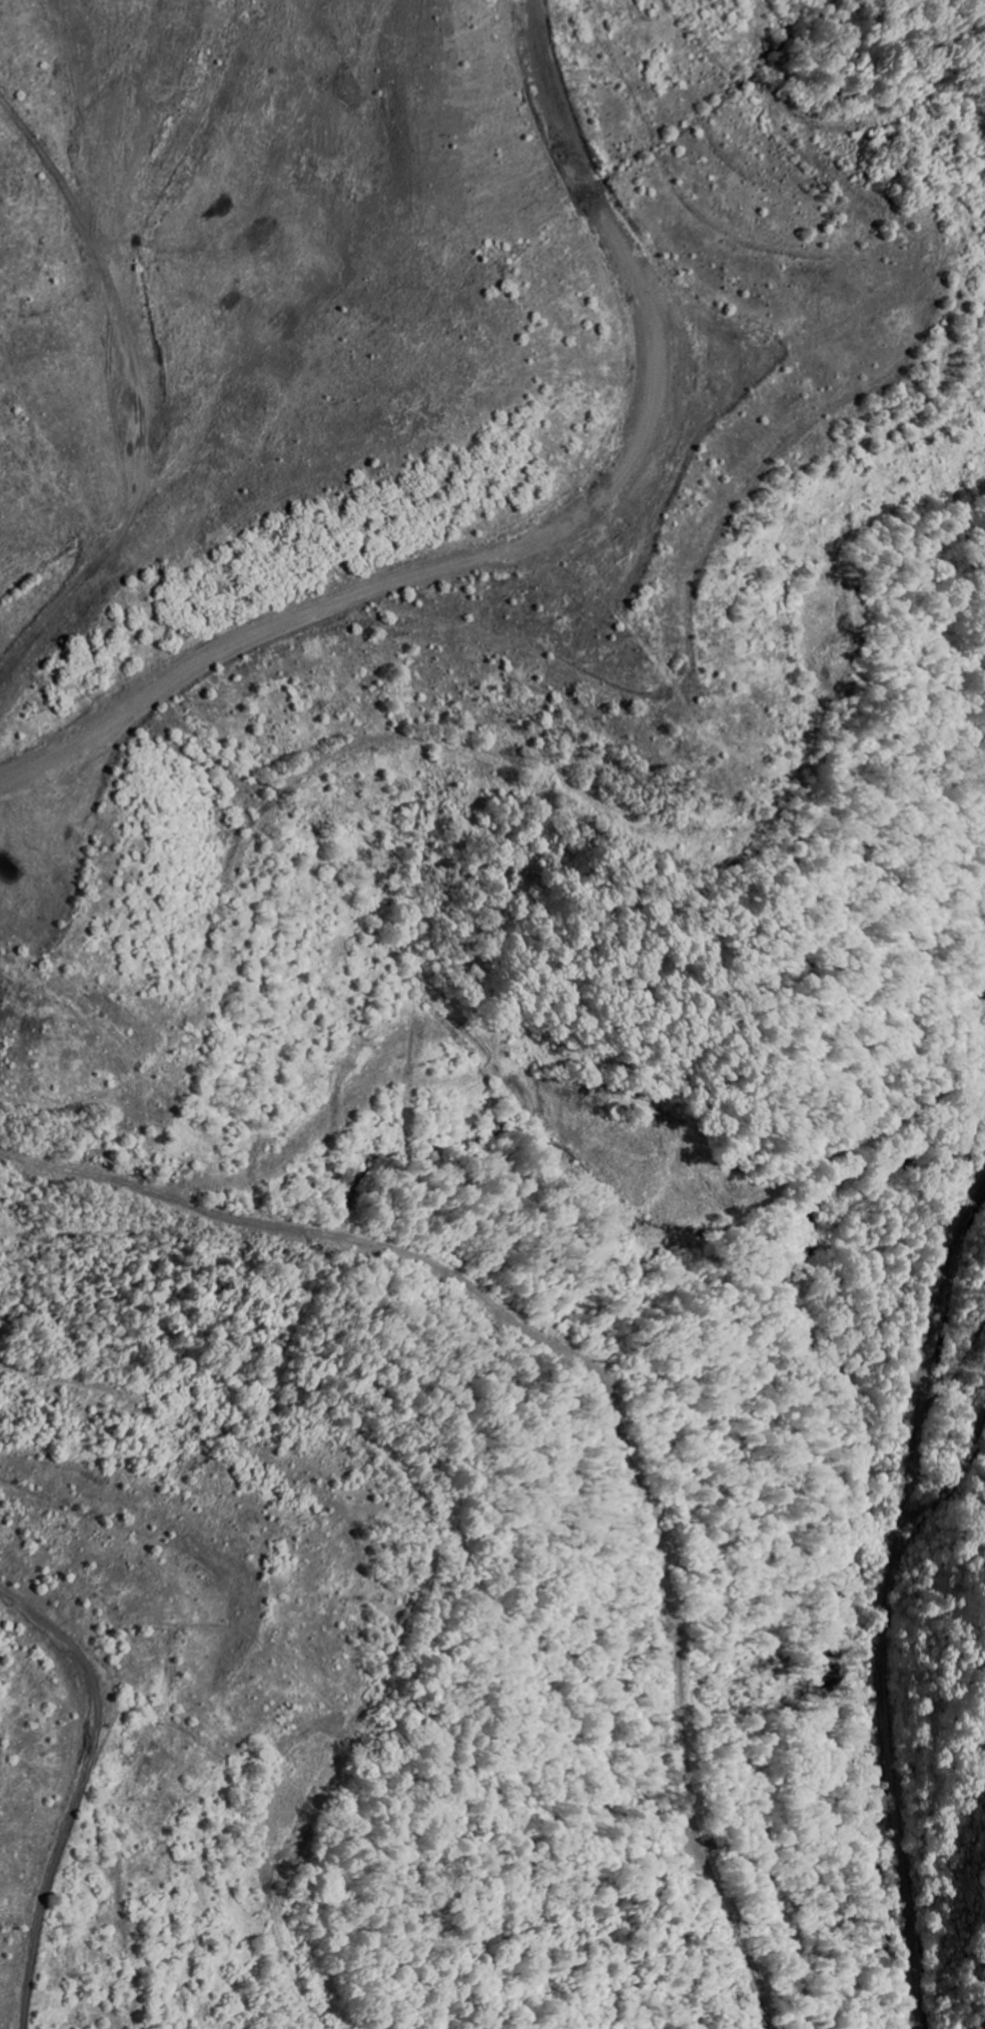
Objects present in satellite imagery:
quarry: (432, 778)

